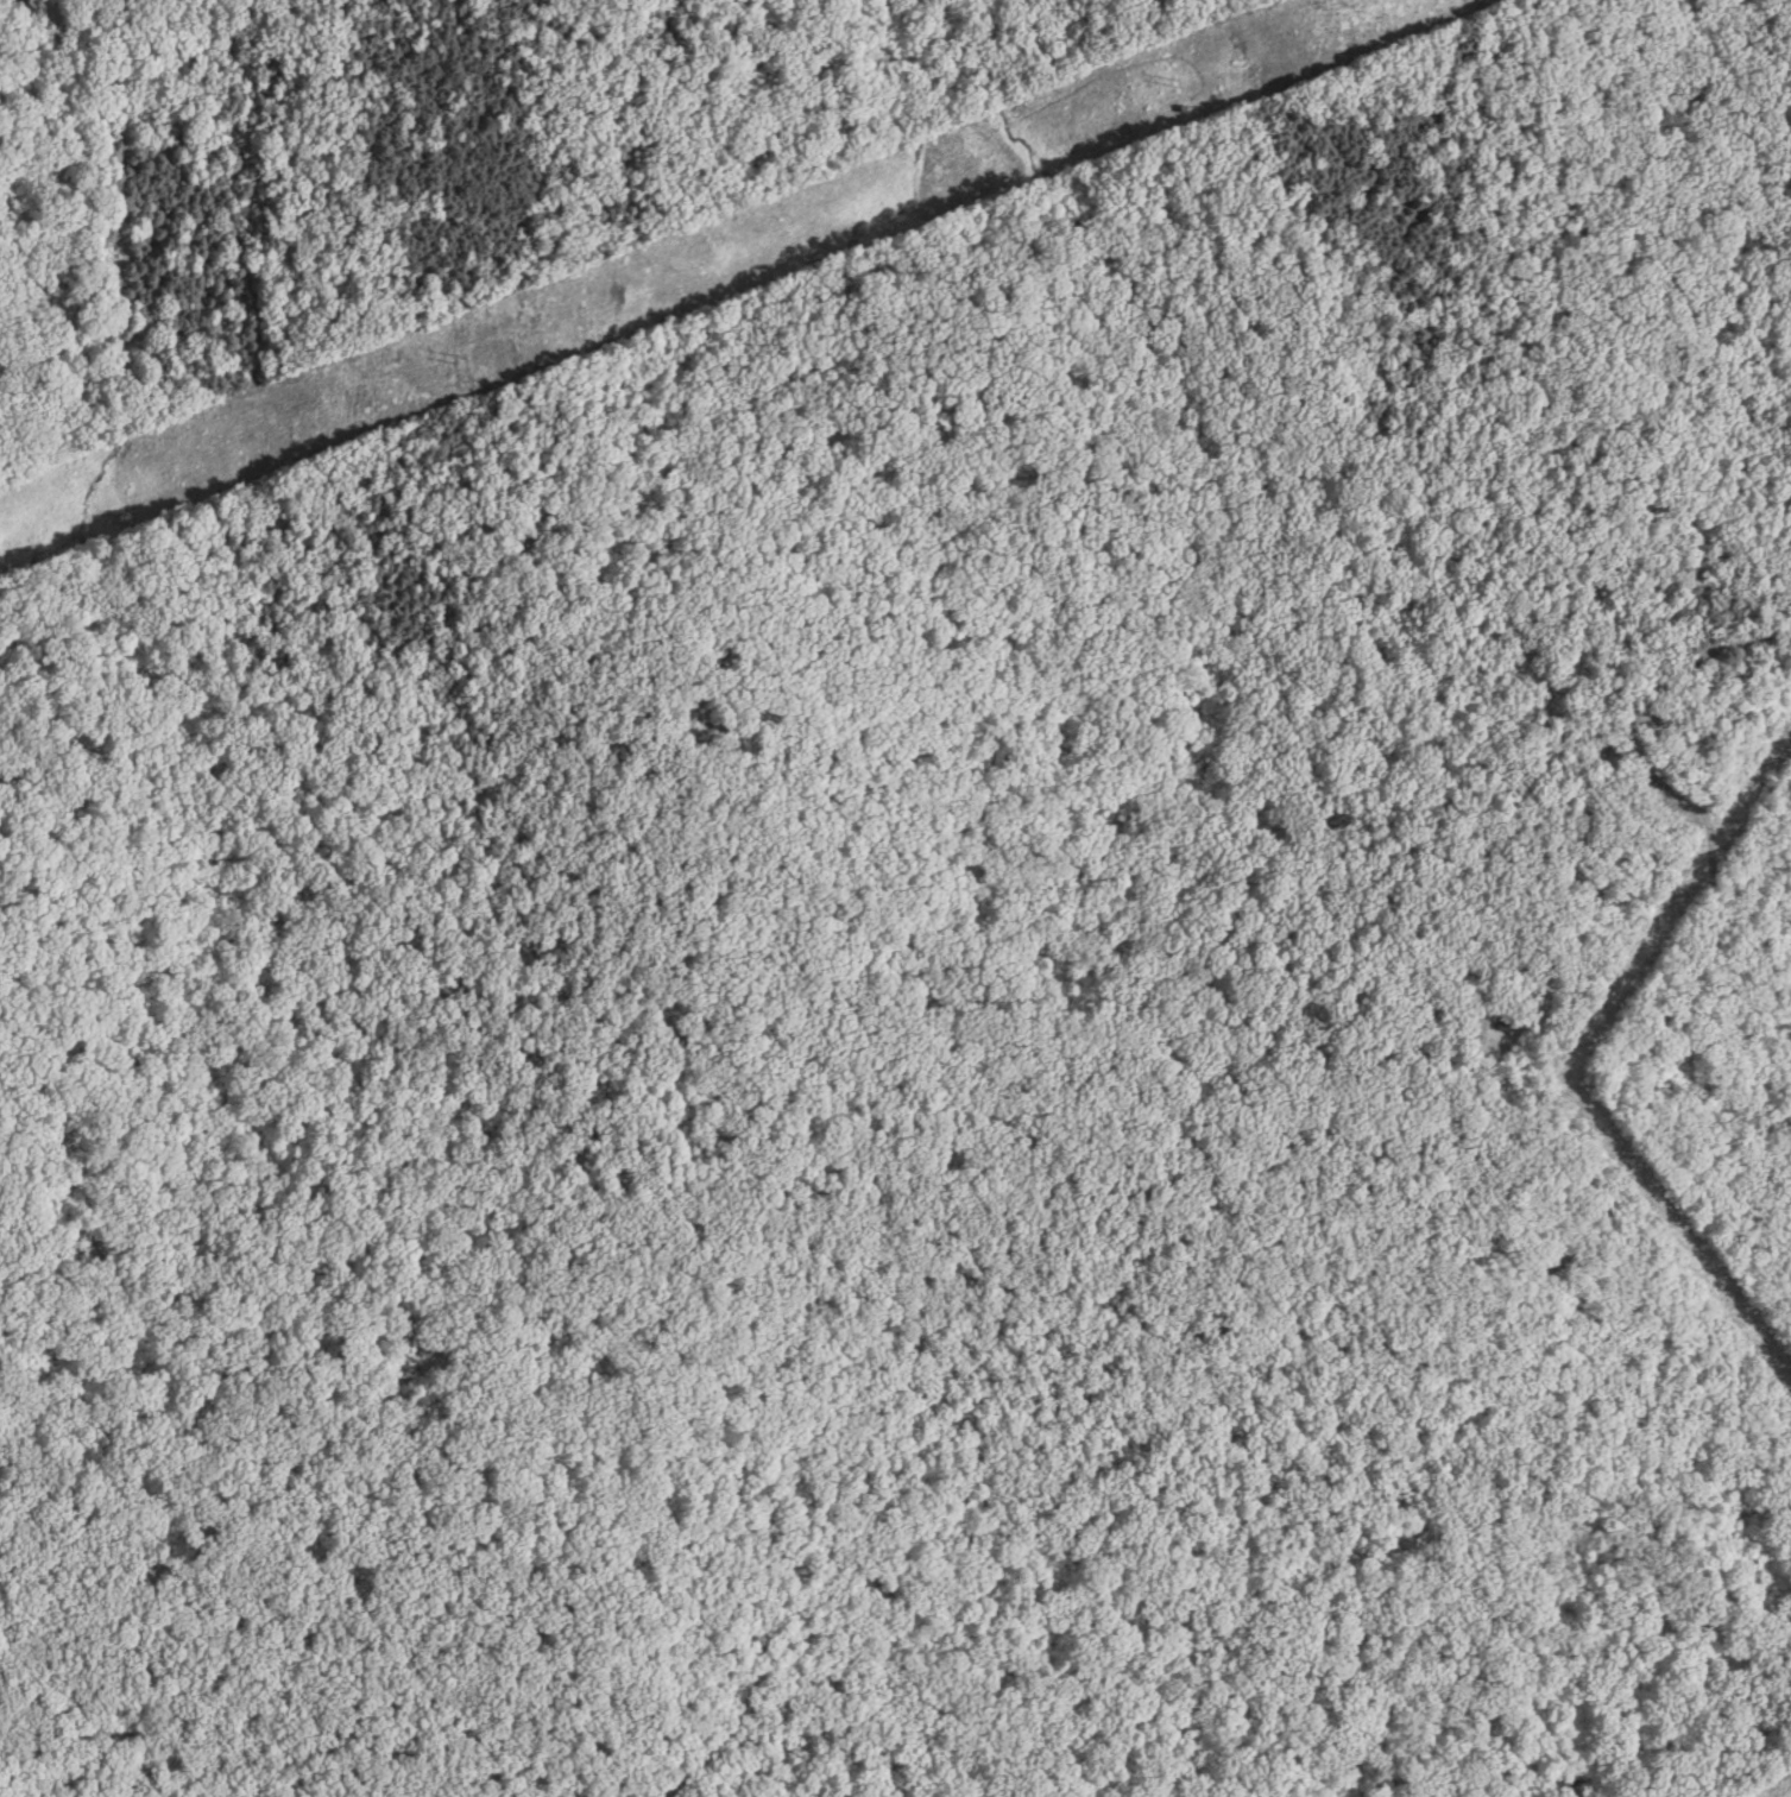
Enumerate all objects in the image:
power tower: (1159, 80)
power tower: (988, 144)
power tower: (433, 358)

